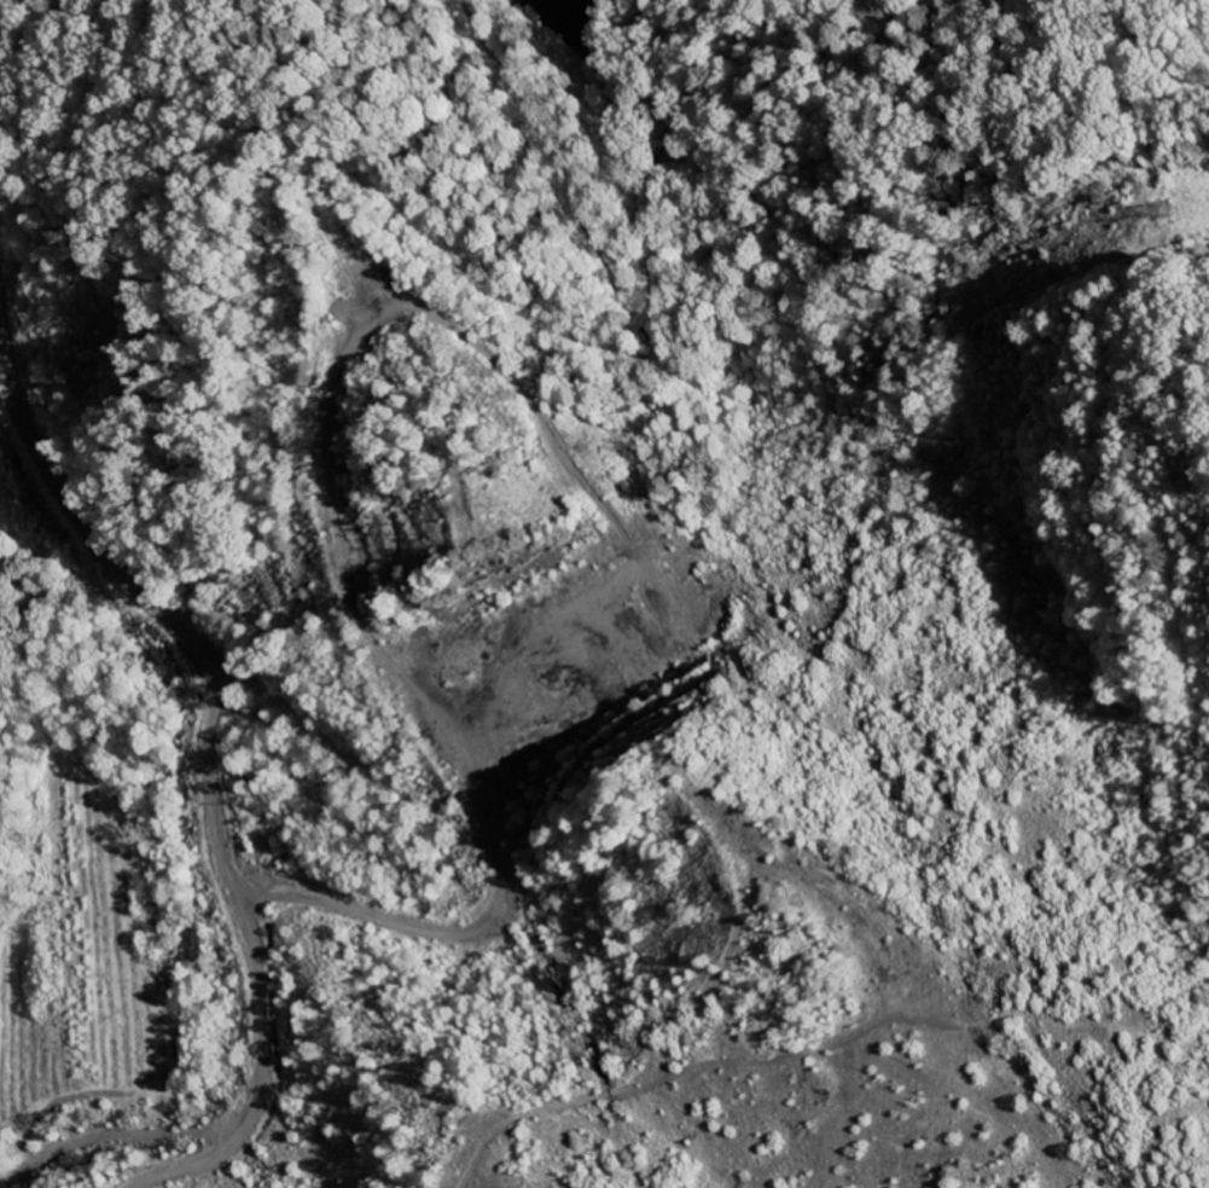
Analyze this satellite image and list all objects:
building: (667, 563)
building: (552, 583)
building: (599, 614)
road: (215, 777)

